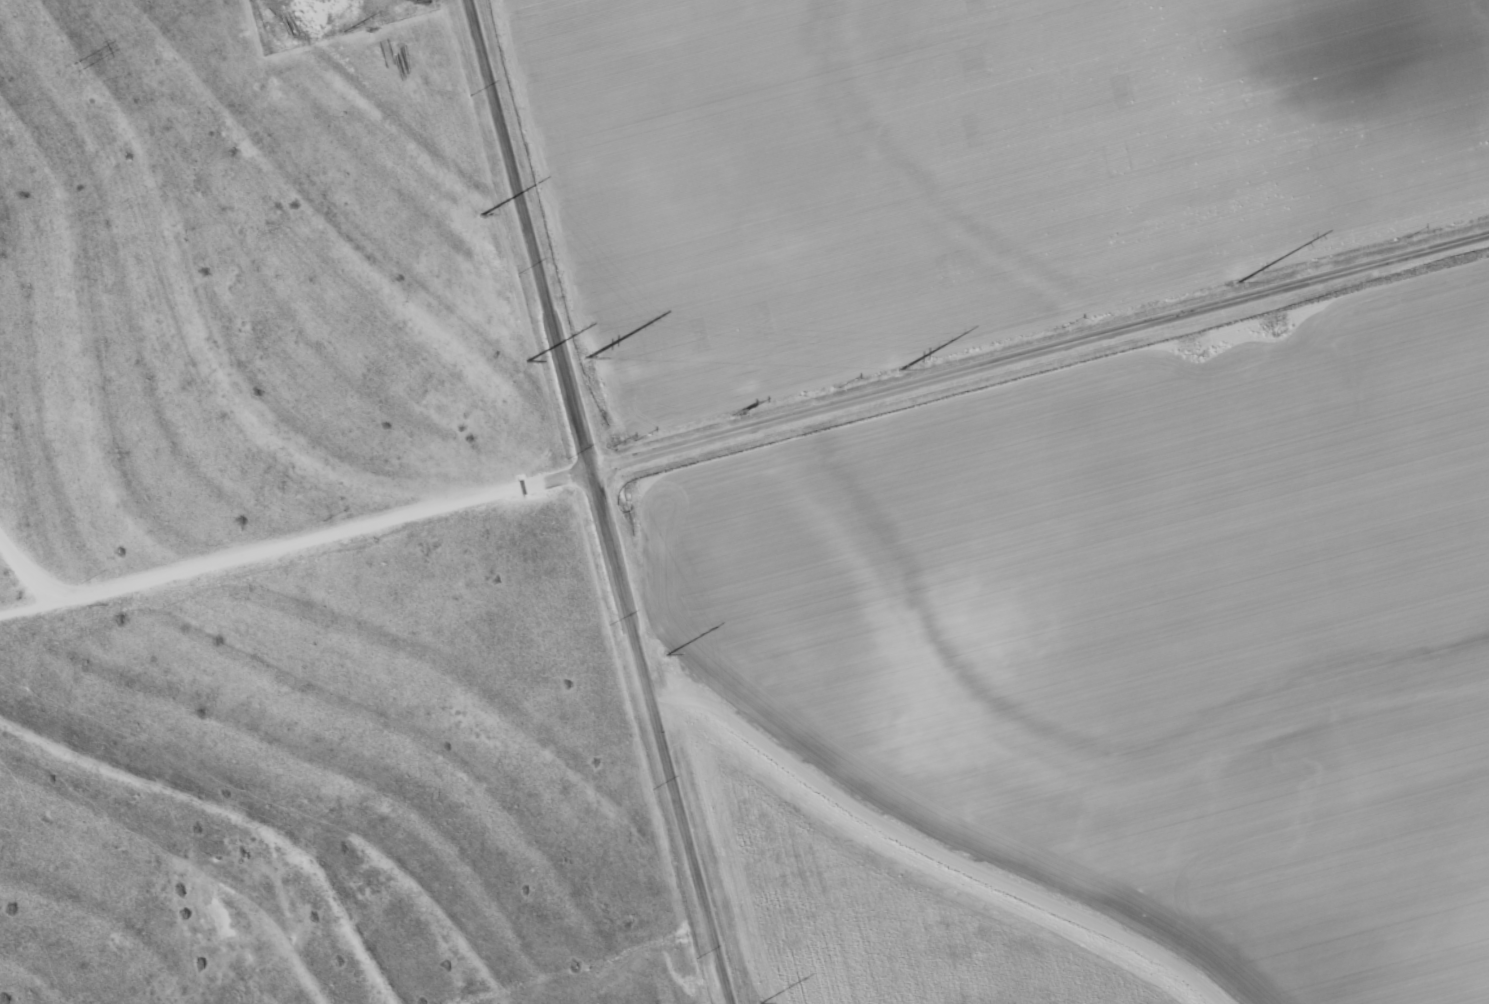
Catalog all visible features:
power tower: (415, 8)
power tower: (350, 30)
power tower: (76, 68)
power tower: (1231, 284)
power tower: (528, 360)
power tower: (892, 373)
road: (742, 431)
road: (597, 502)
power tower: (668, 653)
power tower: (761, 1002)

